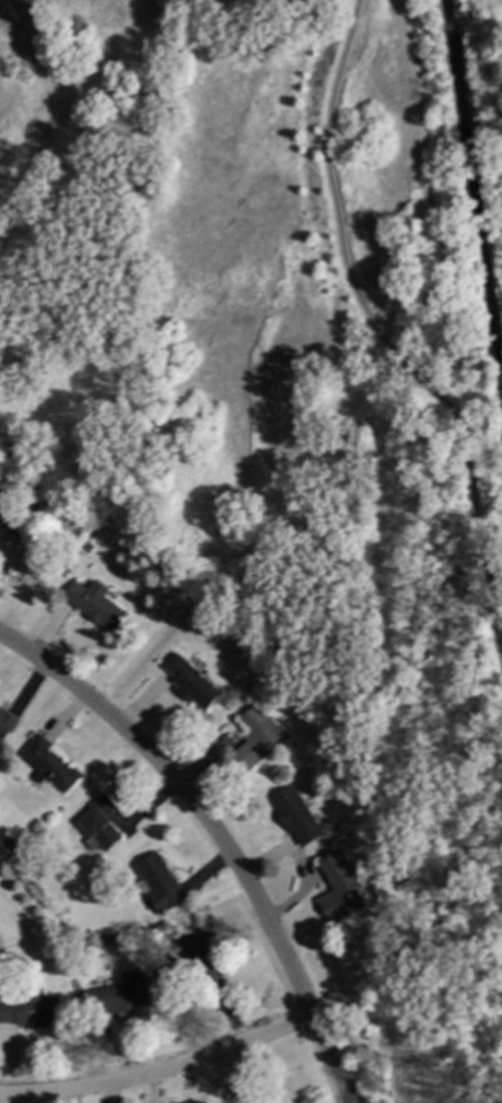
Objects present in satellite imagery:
park: (203, 301)
road: (384, 341)
park: (437, 553)
building: (24, 555)
building: (94, 603)
building: (189, 680)
building: (7, 720)
building: (255, 735)
building: (49, 762)
building: (294, 813)
building: (100, 821)
road: (215, 836)
building: (9, 842)
building: (159, 881)
building: (338, 887)
building: (199, 954)
building: (117, 994)
building: (30, 1007)
road: (159, 1071)

